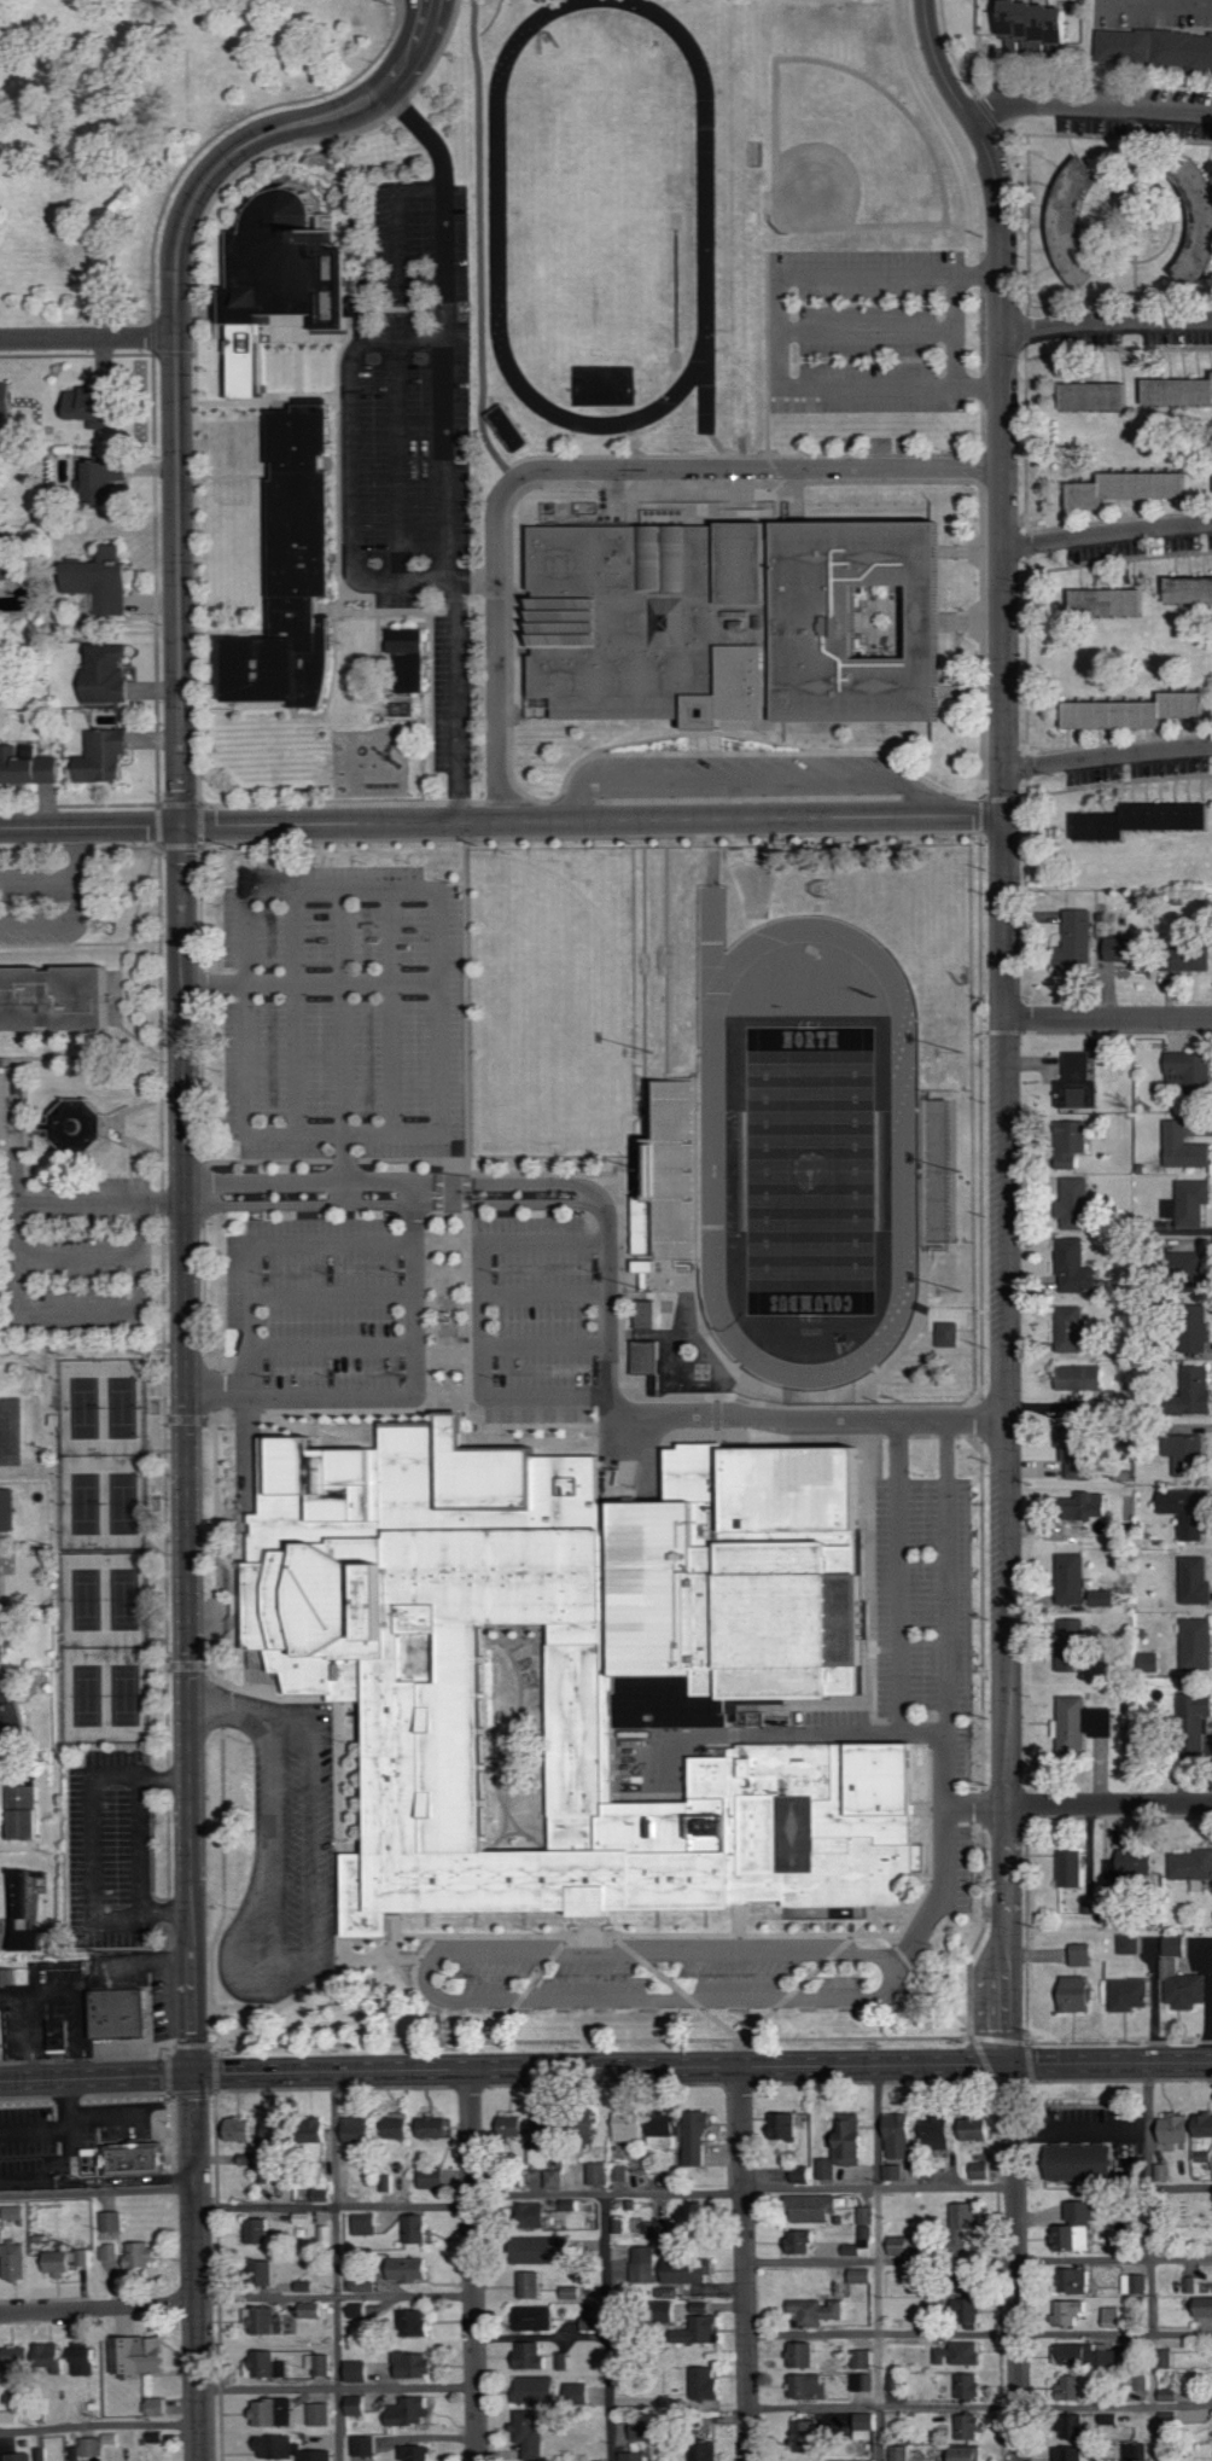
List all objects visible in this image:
road: (1181, 0)
road: (1204, 1)
building: (1037, 21)
building: (1156, 46)
road: (1089, 107)
road: (1117, 139)
park: (846, 153)
road: (1144, 186)
park: (599, 194)
road: (209, 203)
track: (497, 203)
road: (398, 211)
building: (1077, 225)
road: (1136, 225)
building: (1198, 225)
road: (979, 234)
road: (480, 246)
building: (281, 267)
road: (866, 273)
road: (366, 284)
road: (1119, 298)
road: (1107, 322)
road: (779, 328)
road: (954, 328)
road: (866, 330)
parking lot: (874, 331)
road: (86, 338)
road: (402, 339)
road: (173, 345)
road: (1118, 349)
park: (601, 384)
road: (866, 384)
building: (1179, 391)
building: (1097, 396)
building: (7, 397)
building: (100, 400)
road: (1003, 400)
road: (1026, 400)
building: (508, 426)
parking lot: (415, 438)
road: (444, 448)
road: (397, 459)
road: (352, 462)
road: (584, 470)
building: (100, 478)
building: (1127, 488)
road: (523, 489)
road: (1118, 519)
road: (1107, 536)
road: (1118, 560)
building: (291, 571)
building: (105, 580)
road: (423, 580)
building: (1189, 592)
building: (1109, 603)
building: (736, 622)
building: (110, 673)
building: (1137, 710)
road: (1119, 741)
road: (748, 752)
building: (107, 756)
road: (1108, 758)
building: (29, 767)
road: (745, 780)
road: (1119, 782)
road: (267, 803)
building: (1146, 821)
road: (592, 822)
road: (89, 828)
road: (77, 853)
road: (39, 875)
road: (345, 878)
road: (1006, 919)
road: (58, 923)
building: (1078, 942)
building: (1129, 952)
building: (1188, 959)
road: (215, 983)
building: (52, 995)
park: (550, 999)
road: (249, 1002)
road: (395, 1002)
road: (444, 1002)
road: (299, 1003)
road: (1109, 1020)
road: (345, 1028)
road: (159, 1029)
road: (1096, 1032)
building: (1193, 1074)
building: (1078, 1082)
building: (5, 1104)
building: (76, 1125)
road: (346, 1128)
building: (1073, 1141)
building: (1184, 1147)
track: (901, 1151)
parking lot: (371, 1154)
park: (810, 1169)
building: (939, 1171)
road: (389, 1177)
building: (1080, 1203)
building: (1194, 1203)
road: (394, 1204)
road: (205, 1215)
building: (646, 1233)
road: (263, 1240)
road: (80, 1251)
road: (620, 1258)
building: (1076, 1267)
road: (17, 1287)
road: (548, 1288)
road: (334, 1290)
building: (645, 1313)
road: (8, 1317)
road: (485, 1319)
building: (1189, 1328)
building: (1074, 1330)
building: (946, 1333)
road: (336, 1342)
road: (548, 1342)
building: (646, 1356)
building: (1079, 1378)
building: (1187, 1394)
road: (390, 1396)
road: (391, 1412)
road: (699, 1415)
road: (315, 1421)
road: (302, 1427)
road: (377, 1430)
road: (794, 1436)
road: (185, 1451)
building: (1181, 1451)
building: (1066, 1468)
building: (1080, 1506)
building: (8, 1508)
building: (1181, 1512)
park: (103, 1549)
building: (4, 1572)
road: (901, 1572)
road: (949, 1572)
building: (1066, 1579)
building: (1190, 1581)
building: (1096, 1599)
parking lot: (927, 1612)
building: (5, 1636)
building: (1193, 1645)
building: (1067, 1646)
building: (1144, 1663)
building: (582, 1665)
road: (272, 1698)
road: (232, 1705)
building: (14, 1706)
building: (1188, 1723)
building: (1077, 1724)
road: (824, 1728)
road: (1007, 1741)
road: (165, 1776)
road: (1109, 1807)
building: (27, 1810)
road: (984, 1816)
road: (338, 1838)
road: (144, 1845)
road: (94, 1848)
road: (944, 1850)
building: (1125, 1864)
building: (1189, 1868)
building: (1066, 1869)
building: (27, 1893)
building: (1086, 1904)
road: (168, 1912)
road: (738, 1921)
road: (560, 1936)
building: (31, 1939)
building: (1125, 1945)
building: (1172, 1947)
building: (1076, 1956)
road: (308, 1960)
parking lot: (698, 1960)
road: (915, 1972)
building: (16, 1976)
road: (806, 1978)
road: (676, 1986)
road: (431, 1988)
road: (528, 1988)
building: (1179, 1988)
road: (416, 1995)
building: (1067, 1995)
building: (1124, 1995)
road: (247, 2006)
building: (118, 2011)
building: (2, 2030)
building: (60, 2034)
traffic signals: (1004, 2065)
road: (703, 2067)
traffic signals: (194, 2075)
road: (97, 2078)
road: (115, 2113)
building: (787, 2124)
building: (400, 2125)
building: (438, 2125)
building: (631, 2125)
building: (513, 2127)
building: (980, 2127)
building: (1199, 2127)
road: (33, 2128)
building: (549, 2128)
building: (241, 2129)
building: (361, 2129)
building: (1166, 2129)
building: (278, 2131)
building: (668, 2131)
building: (939, 2131)
building: (326, 2134)
building: (902, 2135)
building: (699, 2136)
building: (852, 2141)
road: (65, 2153)
building: (136, 2155)
building: (251, 2159)
building: (1085, 2160)
building: (828, 2169)
building: (981, 2170)
building: (895, 2172)
building: (600, 2174)
building: (802, 2174)
building: (433, 2177)
building: (555, 2177)
road: (1181, 2186)
road: (98, 2189)
road: (745, 2191)
building: (325, 2194)
road: (334, 2203)
building: (818, 2207)
building: (16, 2212)
building: (538, 2215)
building: (867, 2215)
building: (115, 2221)
building: (967, 2222)
building: (367, 2223)
building: (419, 2228)
building: (1078, 2228)
building: (658, 2229)
building: (261, 2230)
building: (327, 2234)
building: (802, 2241)
building: (549, 2248)
building: (109, 2252)
building: (141, 2255)
road: (978, 2257)
building: (17, 2261)
building: (65, 2261)
road: (1150, 2262)
road: (746, 2263)
road: (878, 2263)
building: (645, 2264)
road: (336, 2265)
road: (473, 2265)
road: (198, 2267)
road: (217, 2267)
building: (414, 2268)
building: (686, 2270)
building: (267, 2271)
building: (864, 2275)
building: (1078, 2280)
building: (919, 2281)
building: (1137, 2283)
building: (531, 2285)
building: (366, 2286)
building: (571, 2292)
road: (336, 2296)
road: (99, 2309)
building: (313, 2309)
building: (360, 2309)
building: (1199, 2309)
building: (971, 2310)
building: (818, 2311)
building: (1088, 2315)
building: (536, 2317)
building: (268, 2320)
building: (419, 2323)
building: (594, 2323)
building: (709, 2323)
road: (607, 2327)
road: (979, 2332)
building: (962, 2354)
building: (142, 2355)
building: (531, 2355)
building: (803, 2355)
building: (51, 2356)
building: (1096, 2356)
building: (19, 2357)
building: (863, 2358)
building: (87, 2361)
building: (565, 2361)
building: (321, 2363)
building: (268, 2364)
building: (416, 2364)
building: (359, 2370)
building: (863, 2381)
building: (895, 2381)
building: (707, 2383)
road: (337, 2386)
building: (811, 2386)
building: (971, 2386)
building: (1073, 2386)
building: (536, 2390)
building: (588, 2390)
building: (359, 2404)
road: (979, 2405)
building: (158, 2407)
building: (413, 2410)
building: (275, 2413)
building: (324, 2414)
building: (11, 2416)
building: (869, 2420)
road: (100, 2424)
building: (973, 2426)
building: (1073, 2426)
building: (649, 2428)
building: (531, 2433)
building: (808, 2436)
building: (367, 2445)
building: (93, 2447)
building: (281, 2447)
building: (706, 2450)
building: (1137, 2451)
building: (419, 2453)
building: (902, 2453)
building: (971, 2454)
building: (1072, 2454)
building: (322, 2455)
building: (22, 2456)
building: (636, 2456)

